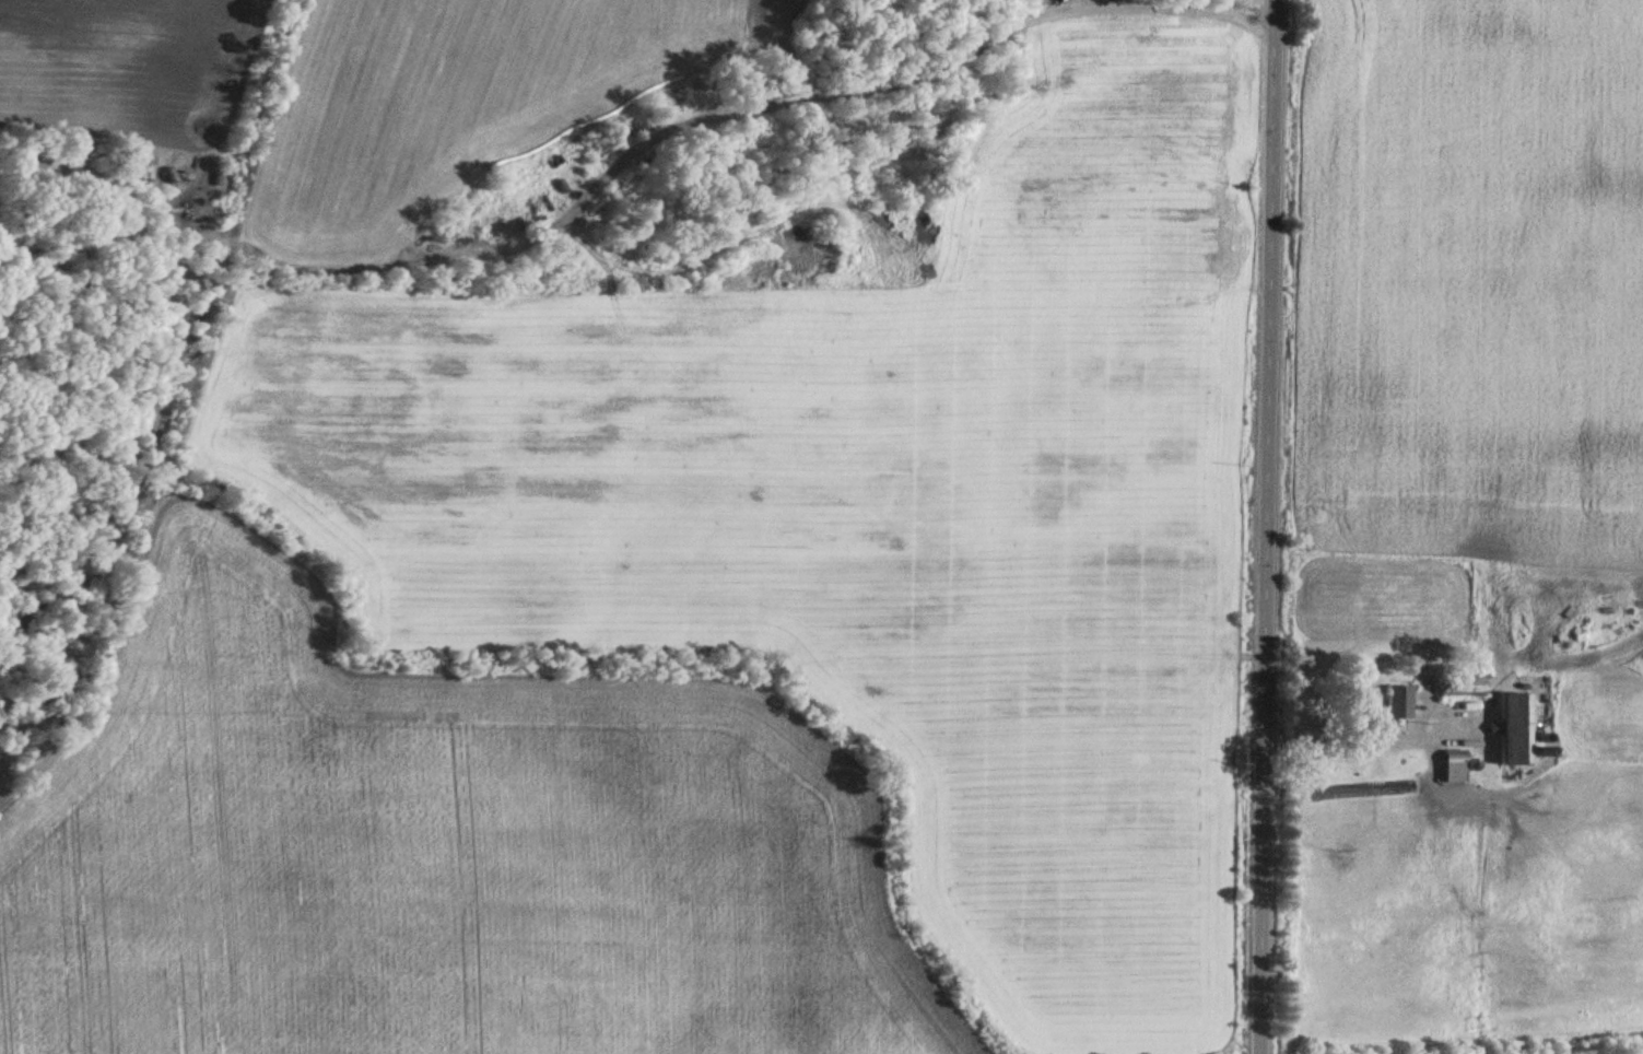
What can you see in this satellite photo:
road: (1270, 527)
building: (1468, 684)
building: (1401, 702)
building: (1516, 730)
building: (1456, 766)

